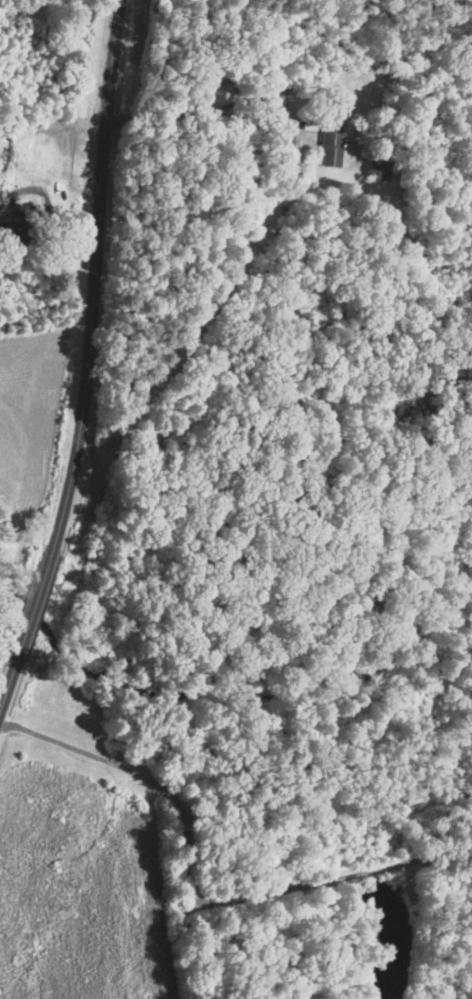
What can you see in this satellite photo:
road: (192, 112)
building: (332, 149)
road: (86, 361)
road: (191, 894)

